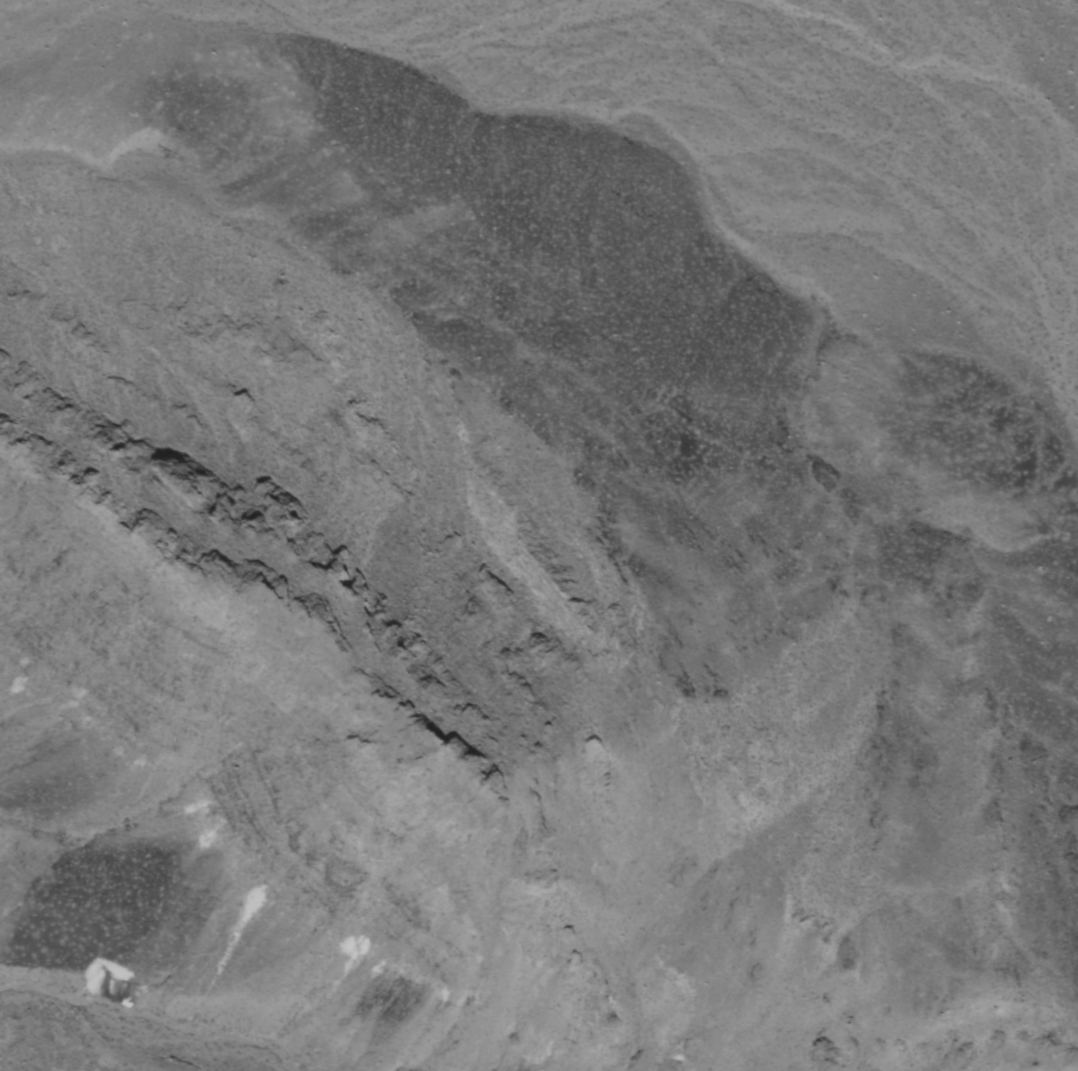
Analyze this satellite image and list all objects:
road: (17, 1011)

